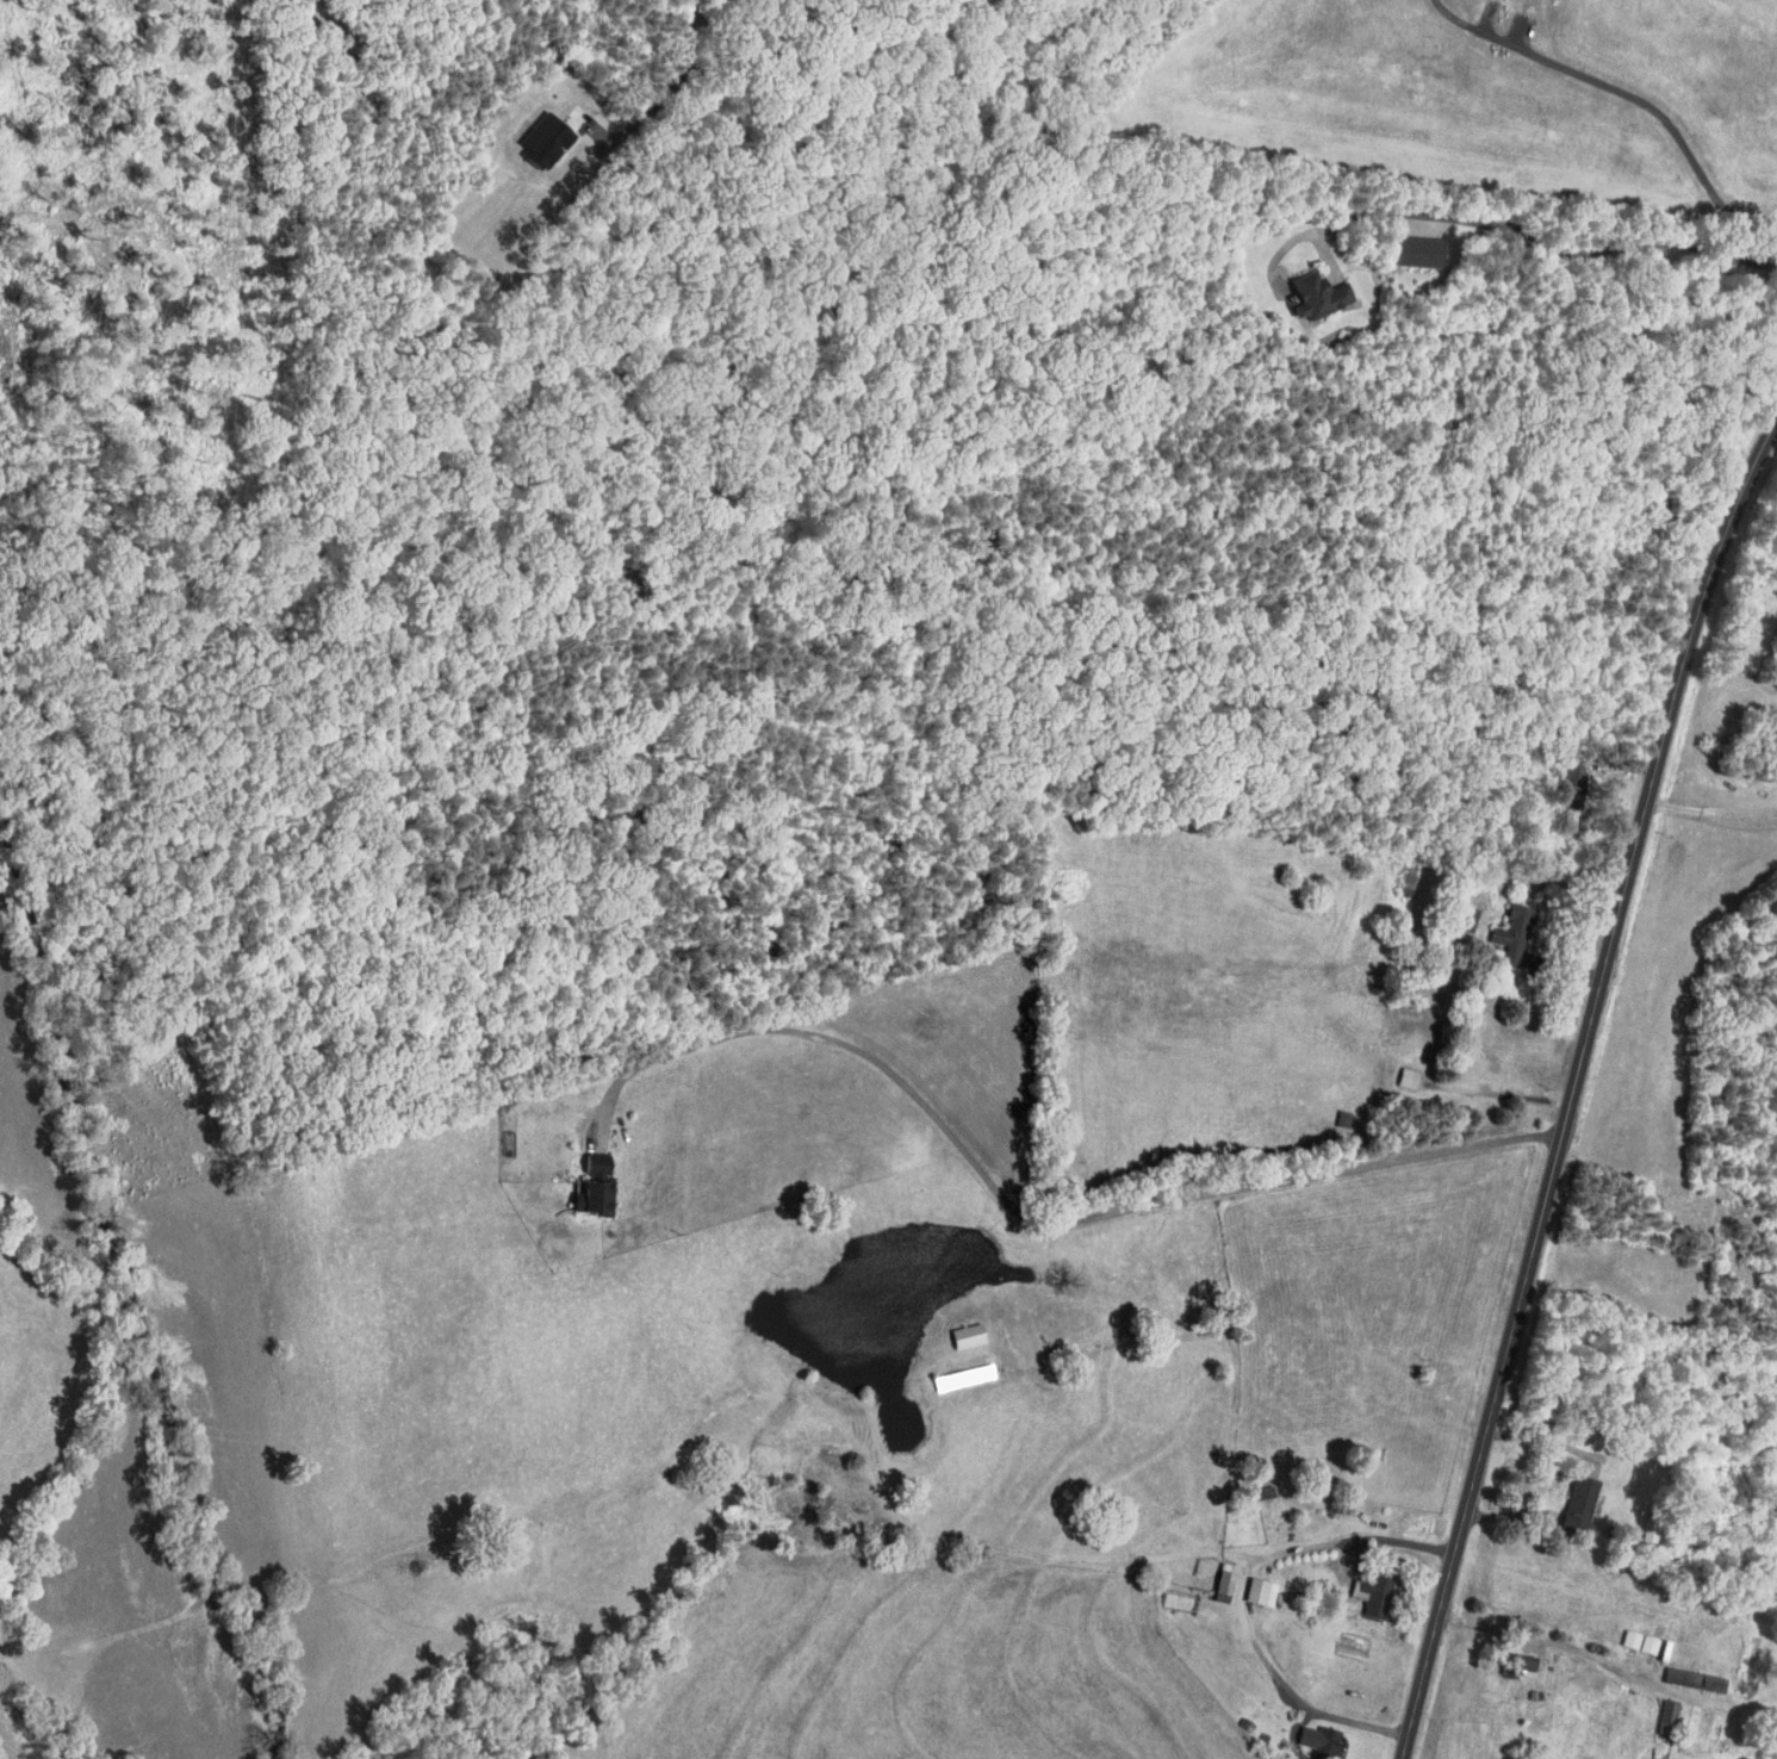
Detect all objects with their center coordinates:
road: (690, 23)
road: (764, 50)
road: (1626, 92)
road: (652, 106)
road: (1504, 230)
building: (1410, 250)
building: (1319, 293)
road: (1627, 765)
building: (1576, 772)
road: (1713, 808)
building: (1465, 918)
building: (1508, 932)
road: (1567, 969)
road: (871, 1053)
road: (1574, 1086)
road: (1500, 1093)
road: (608, 1094)
road: (1299, 1179)
building: (599, 1186)
road: (986, 1288)
building: (962, 1336)
building: (959, 1376)
road: (1543, 1440)
building: (1574, 1500)
road: (1359, 1540)
building: (1219, 1580)
building: (1372, 1590)
building: (1256, 1592)
road: (1542, 1639)
building: (1517, 1662)
road: (1282, 1679)
building: (1691, 1679)
building: (1664, 1716)
building: (1316, 1741)

